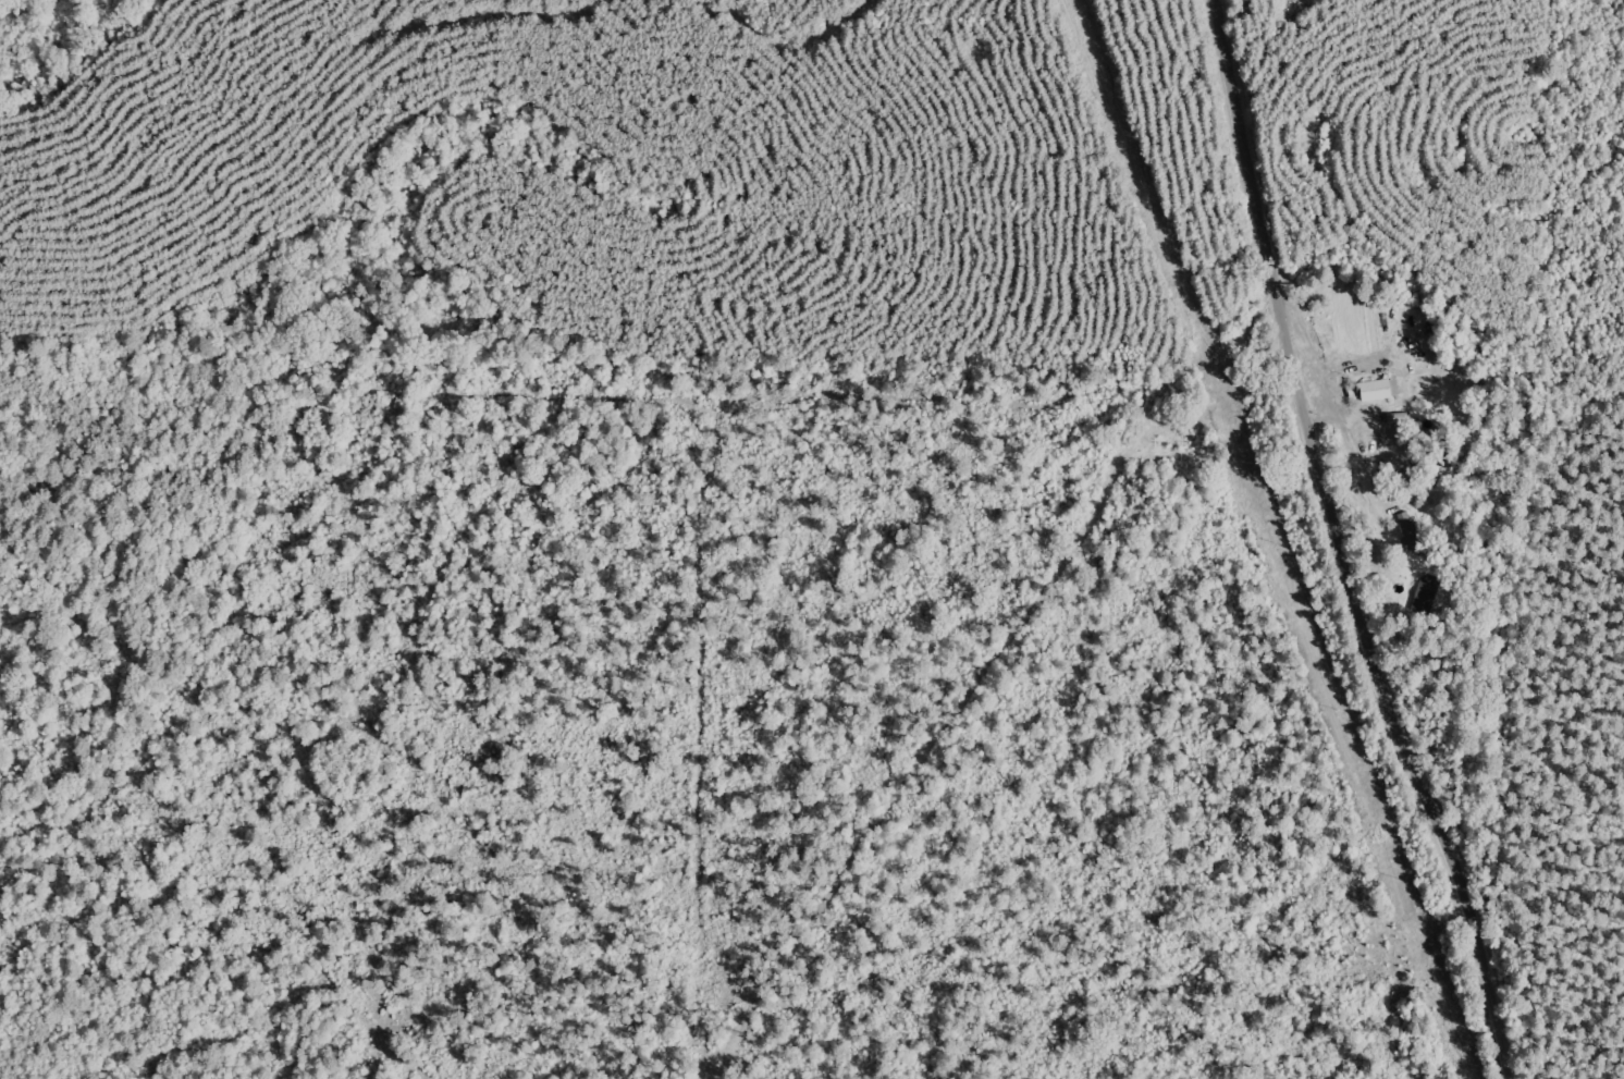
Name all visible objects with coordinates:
road: (1412, 542)
road: (1428, 1000)

